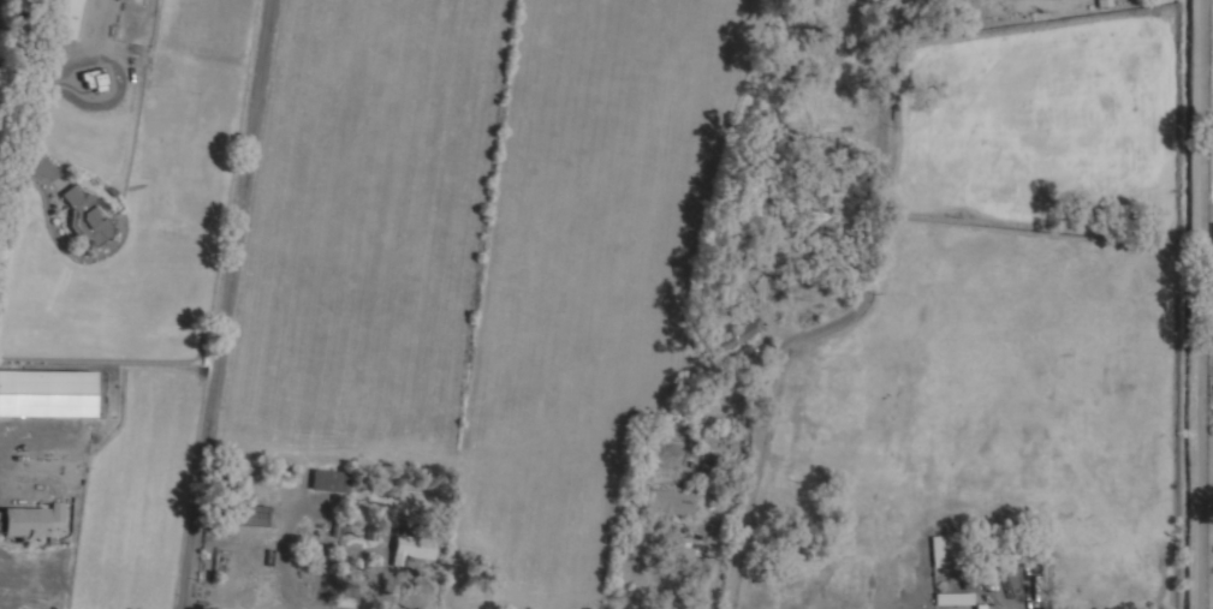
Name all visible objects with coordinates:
building: (65, 18)
crop: (1212, 107)
building: (820, 211)
building: (85, 216)
building: (1212, 229)
crop: (385, 271)
road: (225, 304)
road: (858, 304)
road: (1200, 304)
building: (732, 339)
building: (47, 393)
building: (326, 479)
building: (670, 501)
building: (249, 514)
building: (24, 521)
building: (412, 548)
building: (936, 553)
road: (715, 566)
building: (955, 598)

